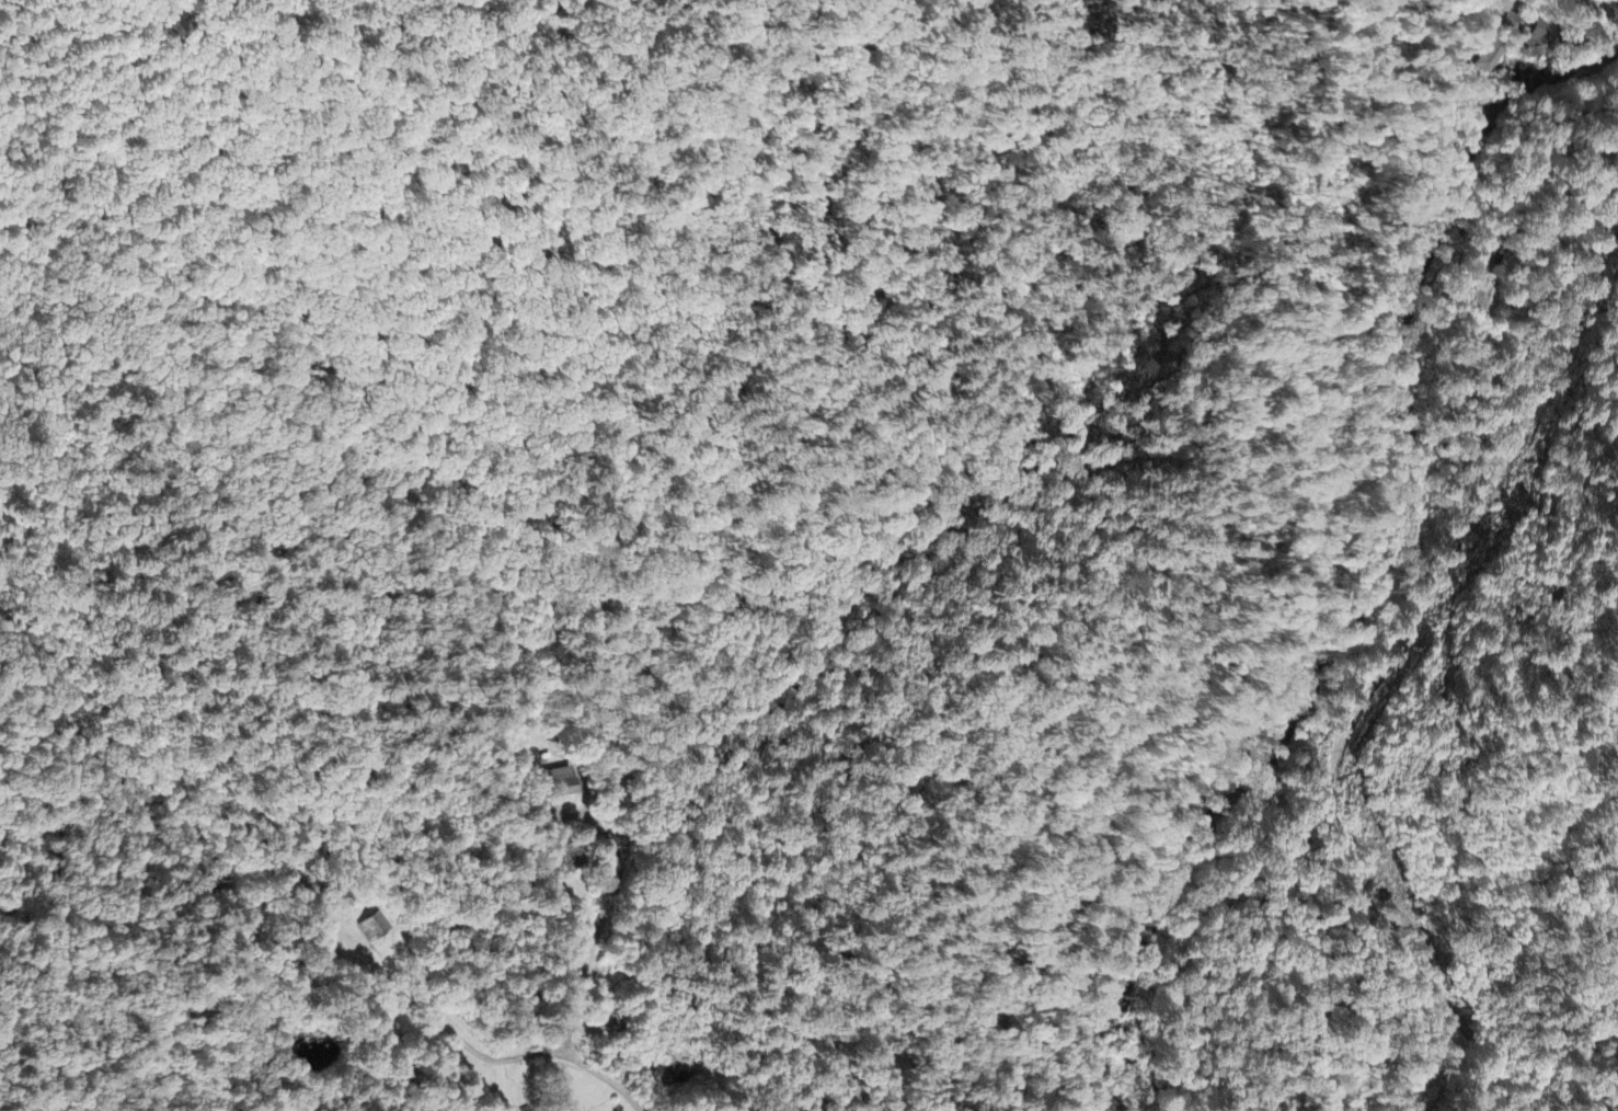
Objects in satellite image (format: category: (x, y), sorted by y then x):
road: (1591, 7)
building: (1510, 25)
road: (1410, 633)
building: (559, 788)
road: (603, 928)
road: (607, 1080)

